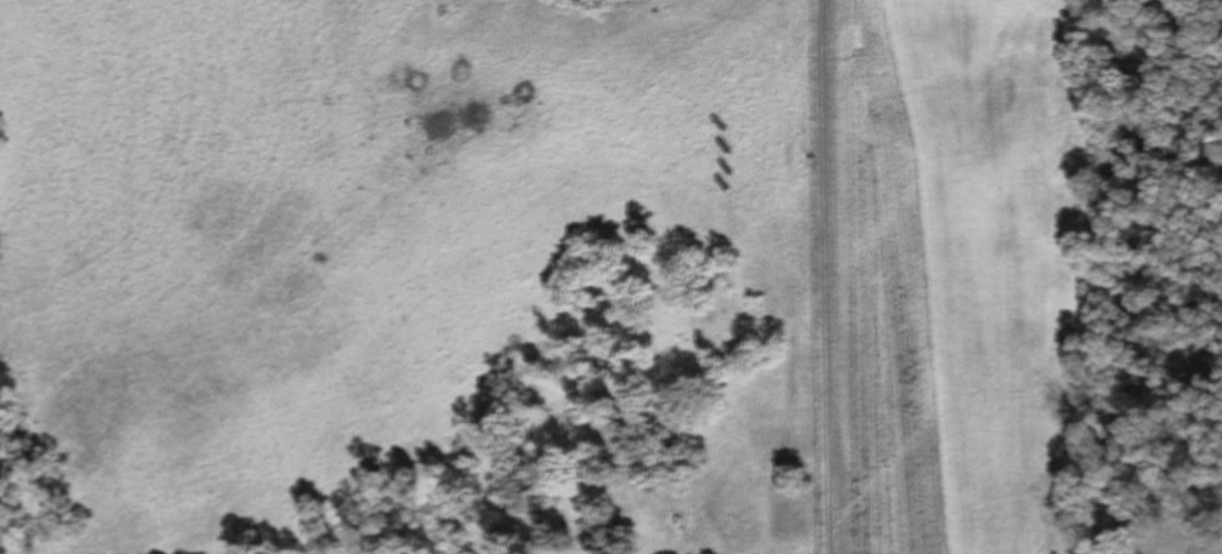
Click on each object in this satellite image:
road: (860, 276)

